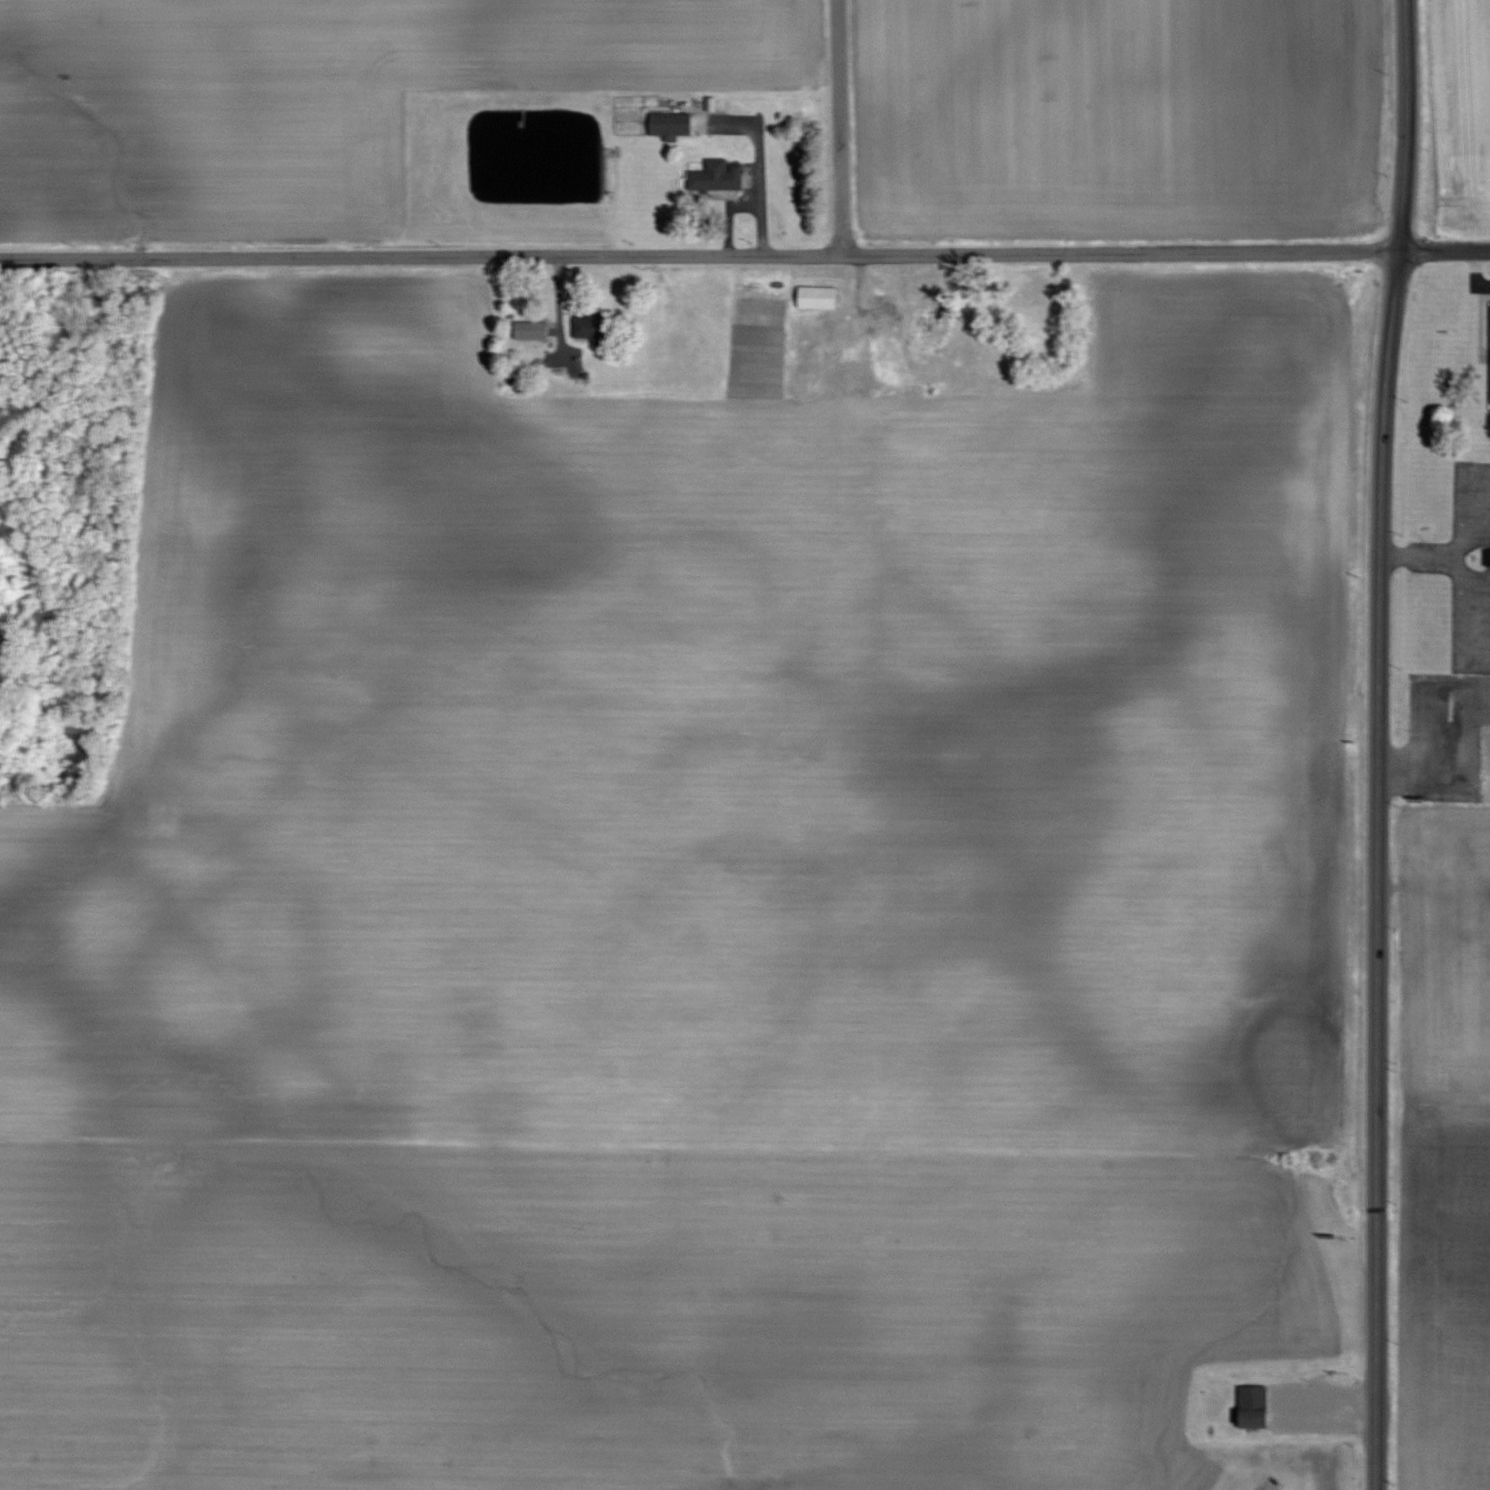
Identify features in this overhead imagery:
building: (672, 124)
road: (832, 130)
road: (761, 165)
building: (718, 176)
road: (728, 220)
road: (1442, 253)
road: (697, 263)
building: (819, 297)
building: (590, 326)
road: (1462, 543)
building: (1489, 557)
road: (1465, 620)
road: (1371, 744)
building: (1256, 1406)

